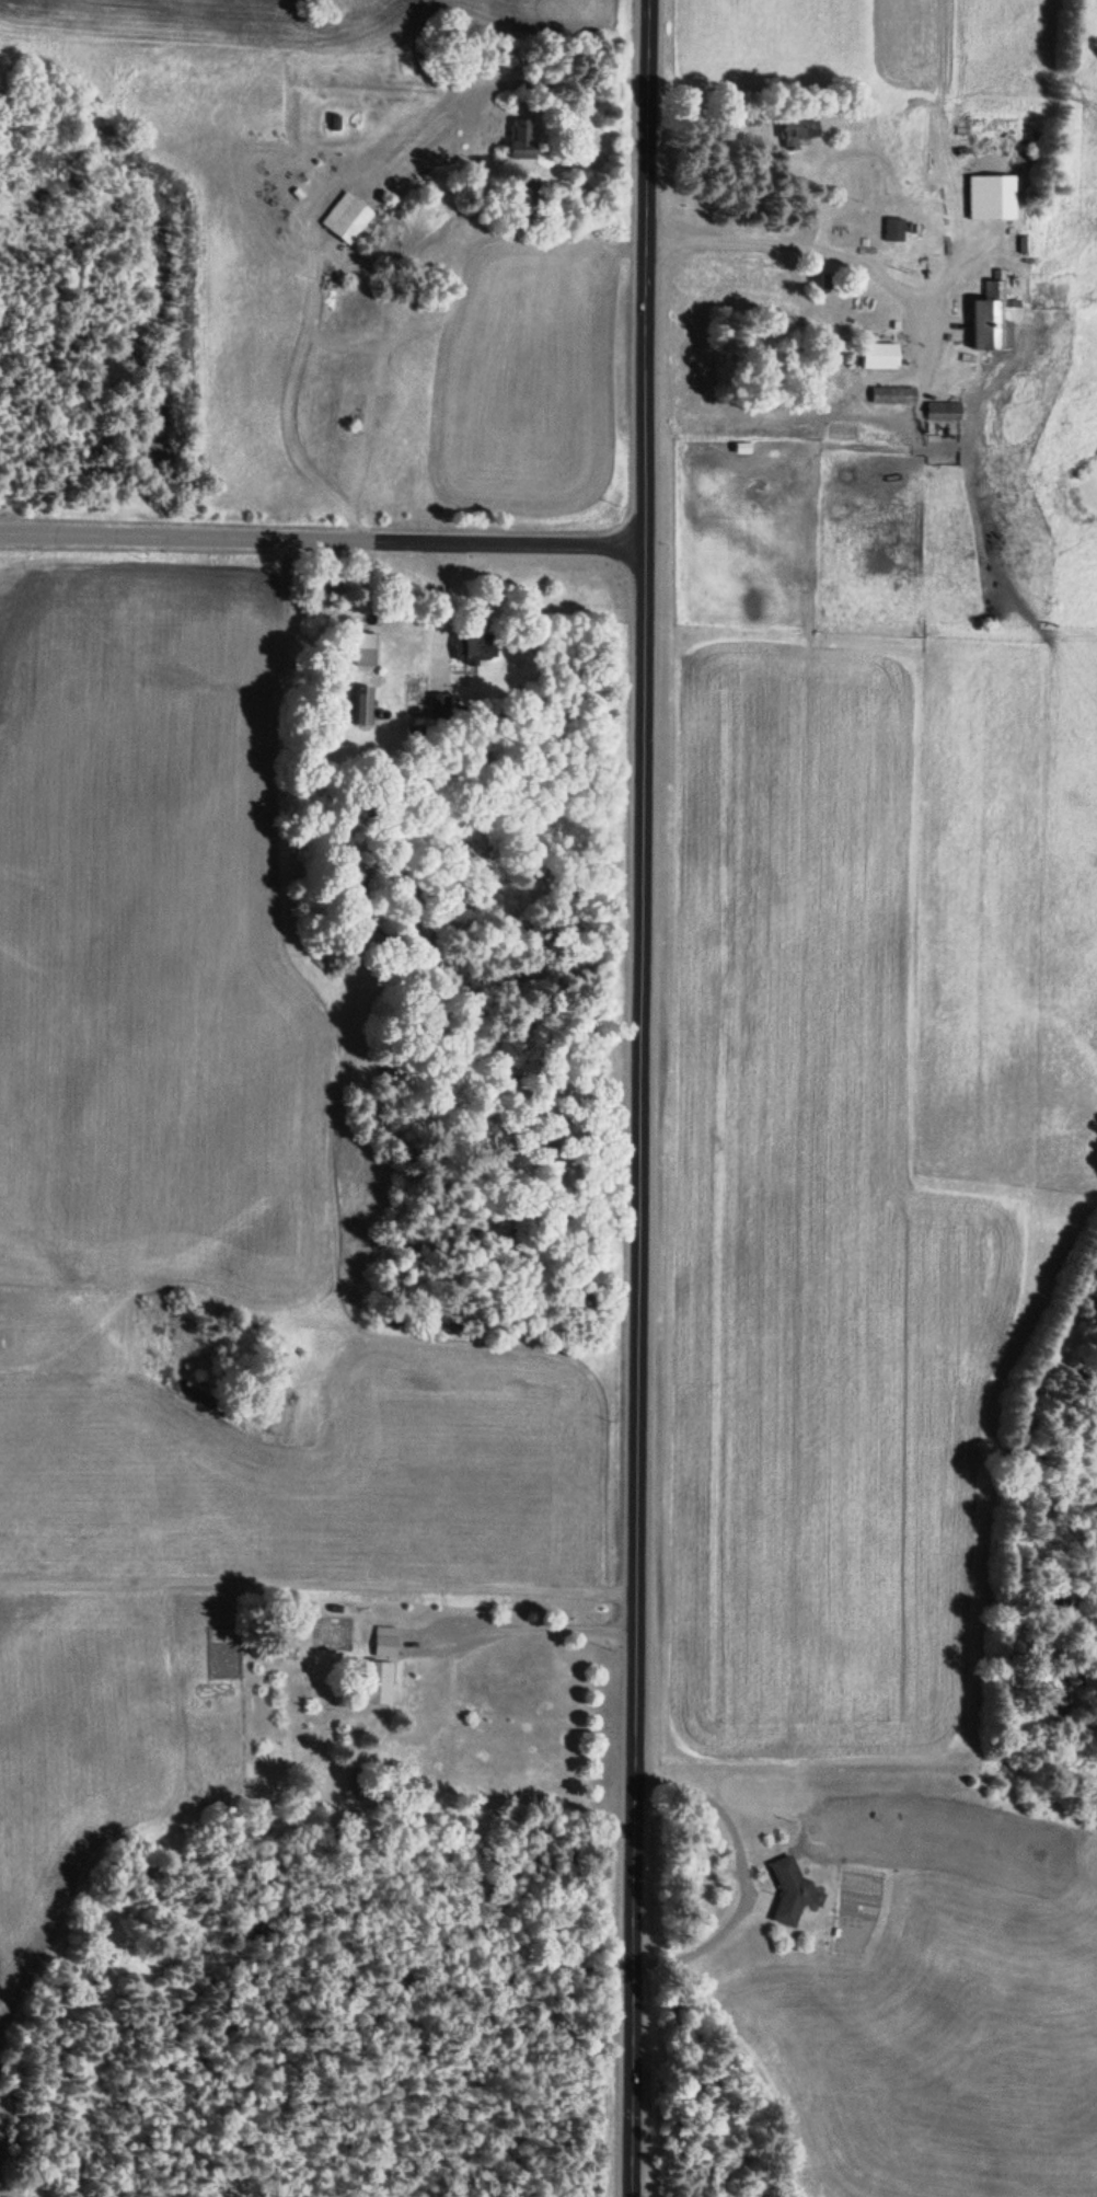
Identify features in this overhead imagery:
road: (459, 96)
building: (792, 127)
building: (517, 139)
building: (989, 192)
building: (340, 218)
building: (892, 225)
building: (1021, 240)
road: (823, 251)
road: (954, 266)
building: (827, 276)
building: (985, 308)
building: (894, 321)
building: (877, 349)
building: (889, 392)
building: (940, 406)
building: (892, 407)
road: (320, 540)
road: (437, 613)
building: (467, 643)
building: (361, 645)
building: (435, 701)
building: (358, 702)
building: (411, 727)
road: (634, 1098)
road: (314, 1585)
road: (471, 1621)
building: (381, 1637)
building: (370, 1681)
road: (738, 1873)
building: (792, 1887)

